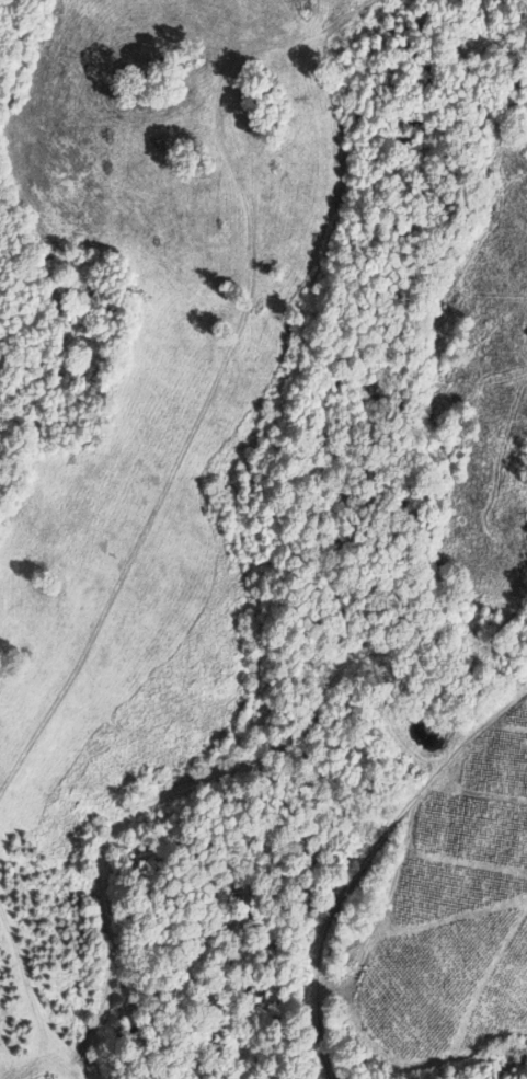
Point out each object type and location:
road: (525, 1)
road: (218, 371)

